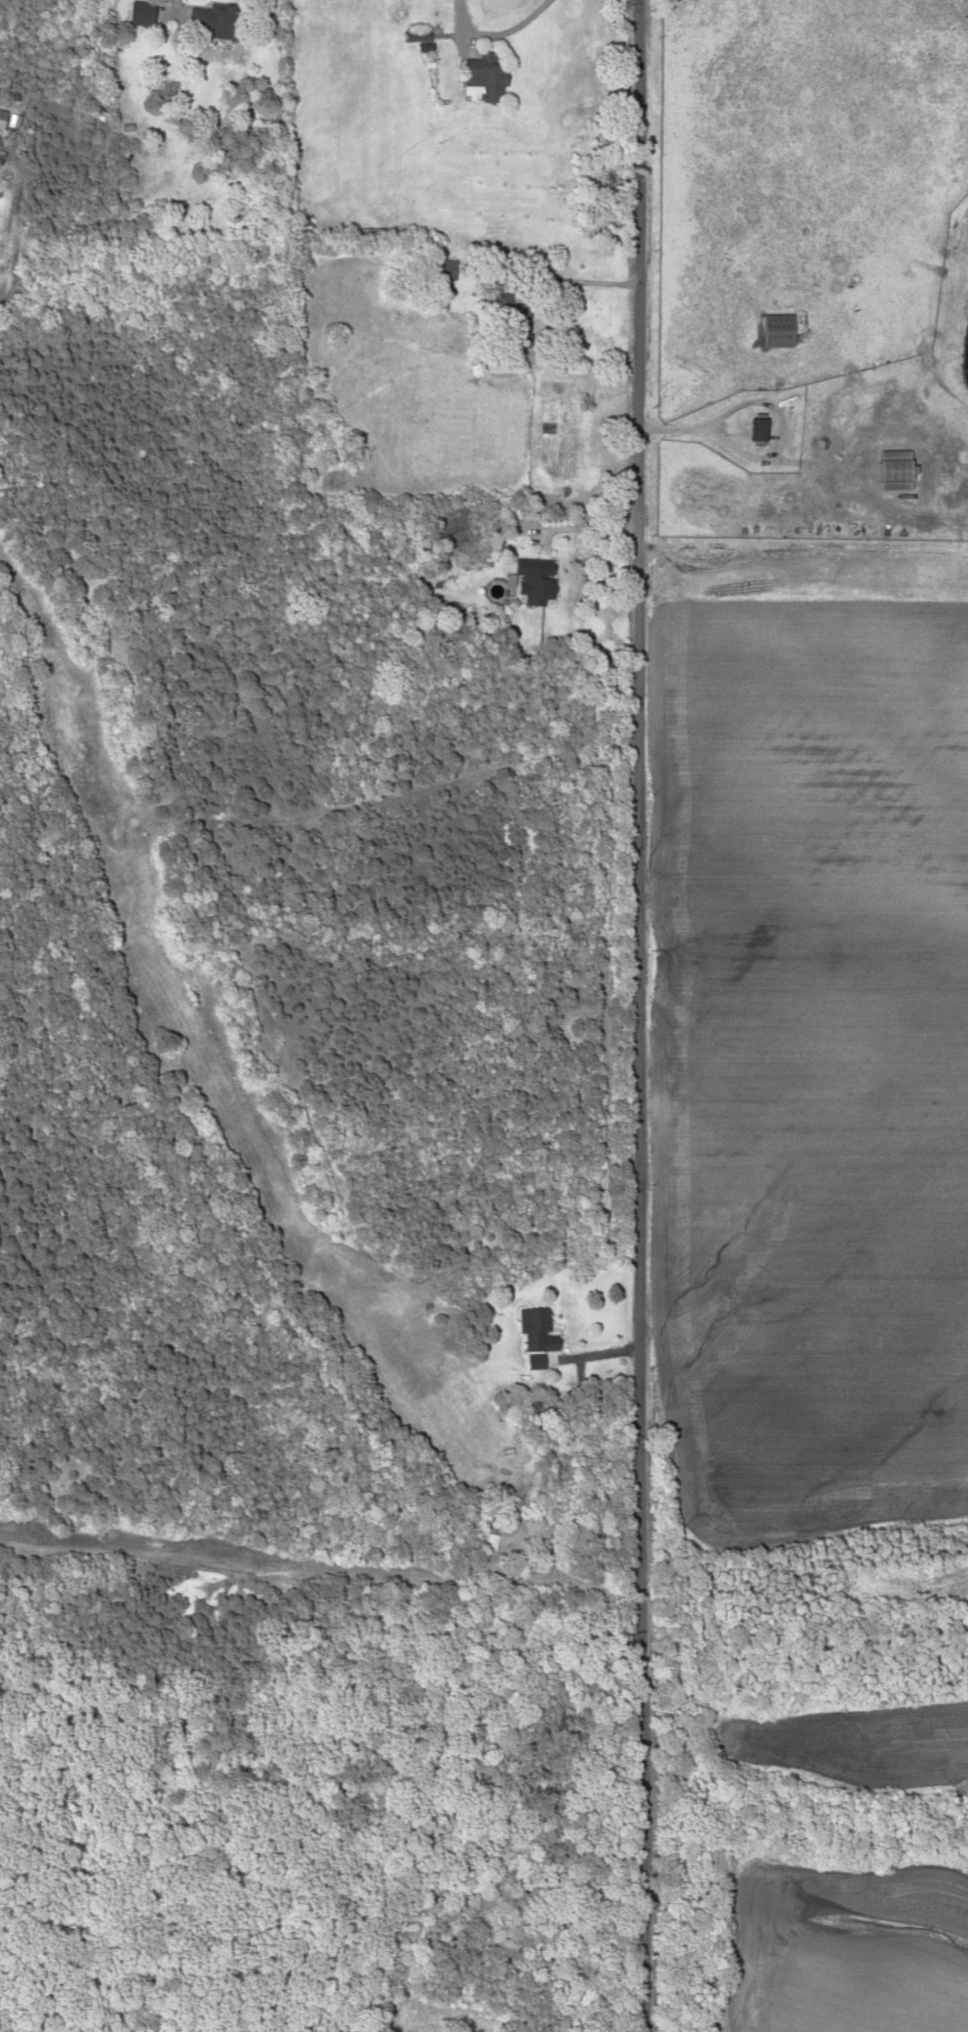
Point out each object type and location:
building: (209, 17)
building: (484, 75)
building: (444, 269)
building: (512, 320)
building: (776, 330)
building: (757, 429)
building: (893, 470)
building: (535, 579)
road: (644, 1016)
building: (537, 1329)
building: (547, 1538)
building: (492, 1541)

